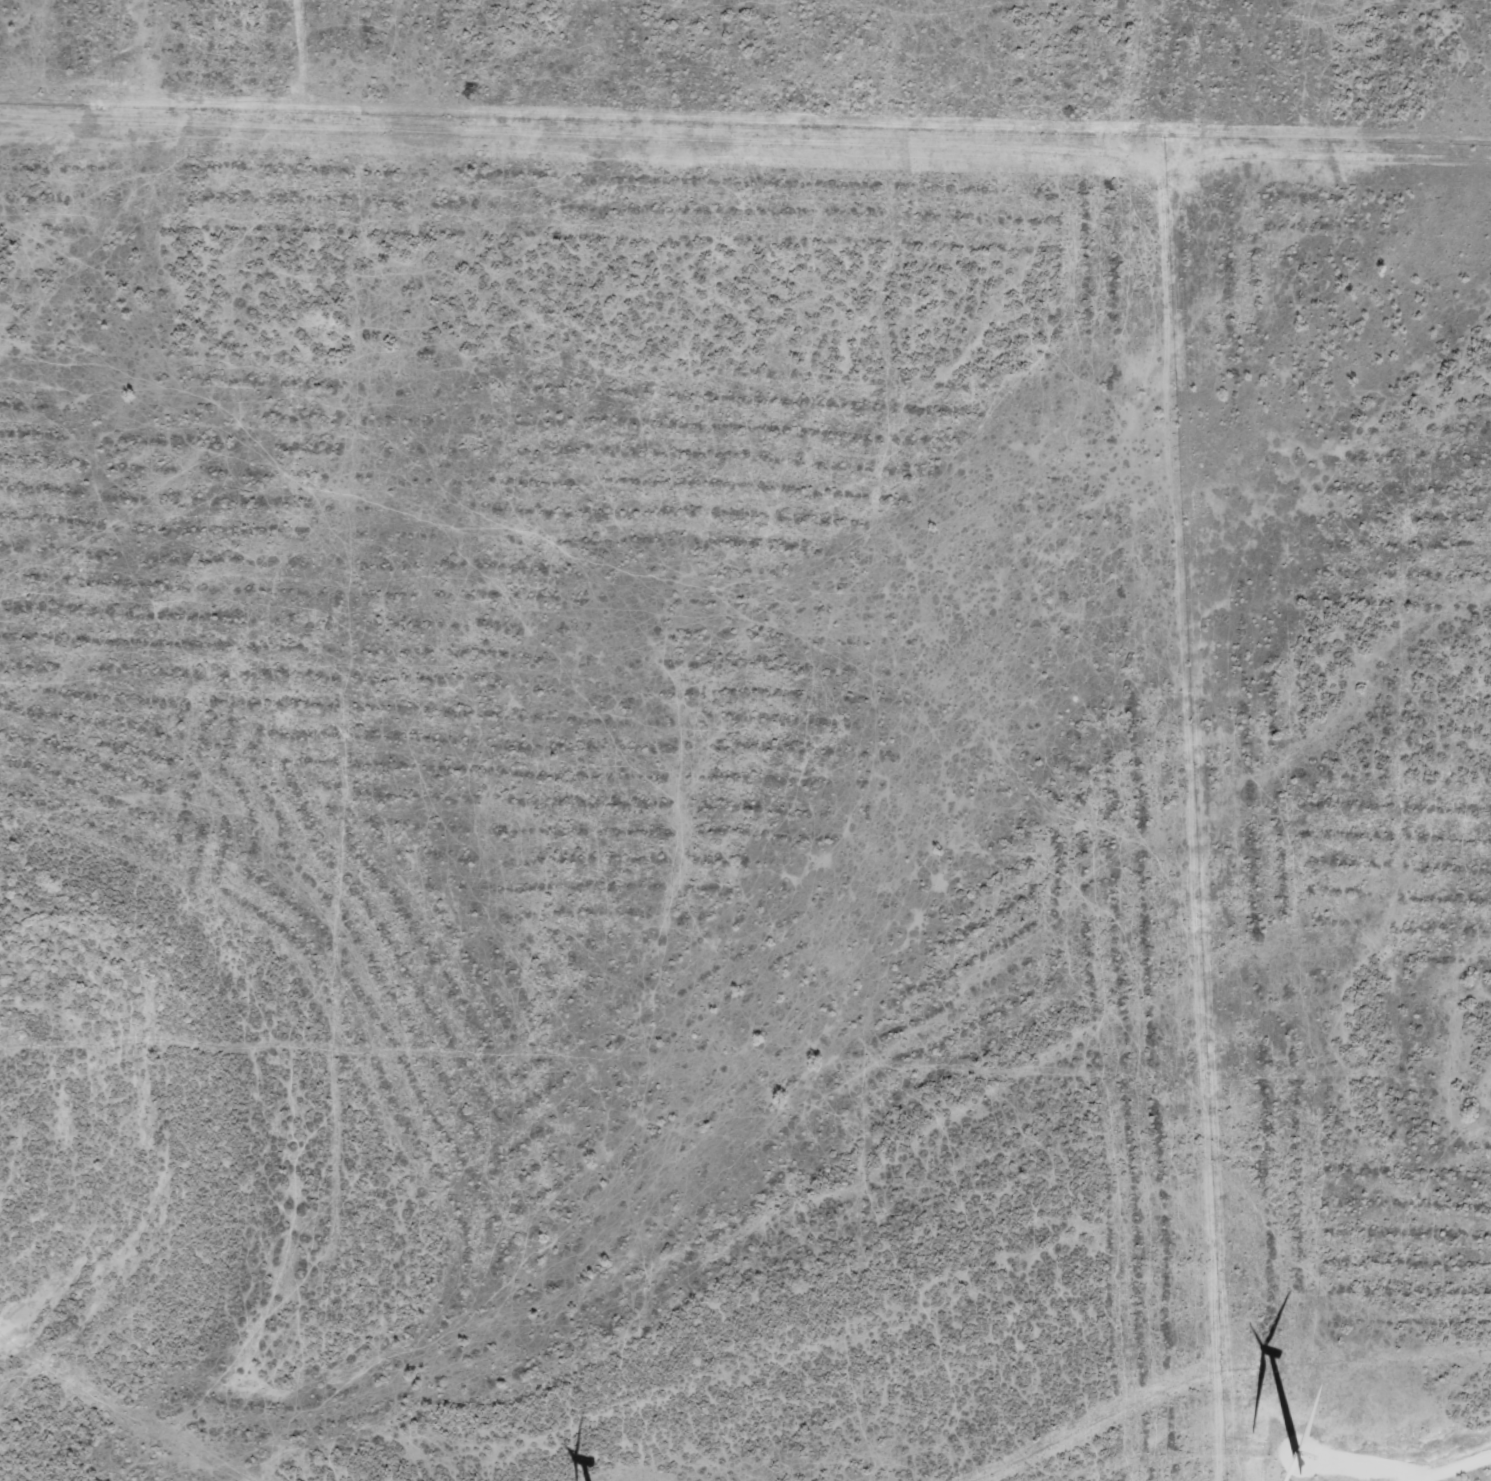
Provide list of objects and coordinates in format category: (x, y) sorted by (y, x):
wind turbine: (1288, 1464)
road: (1461, 1472)

